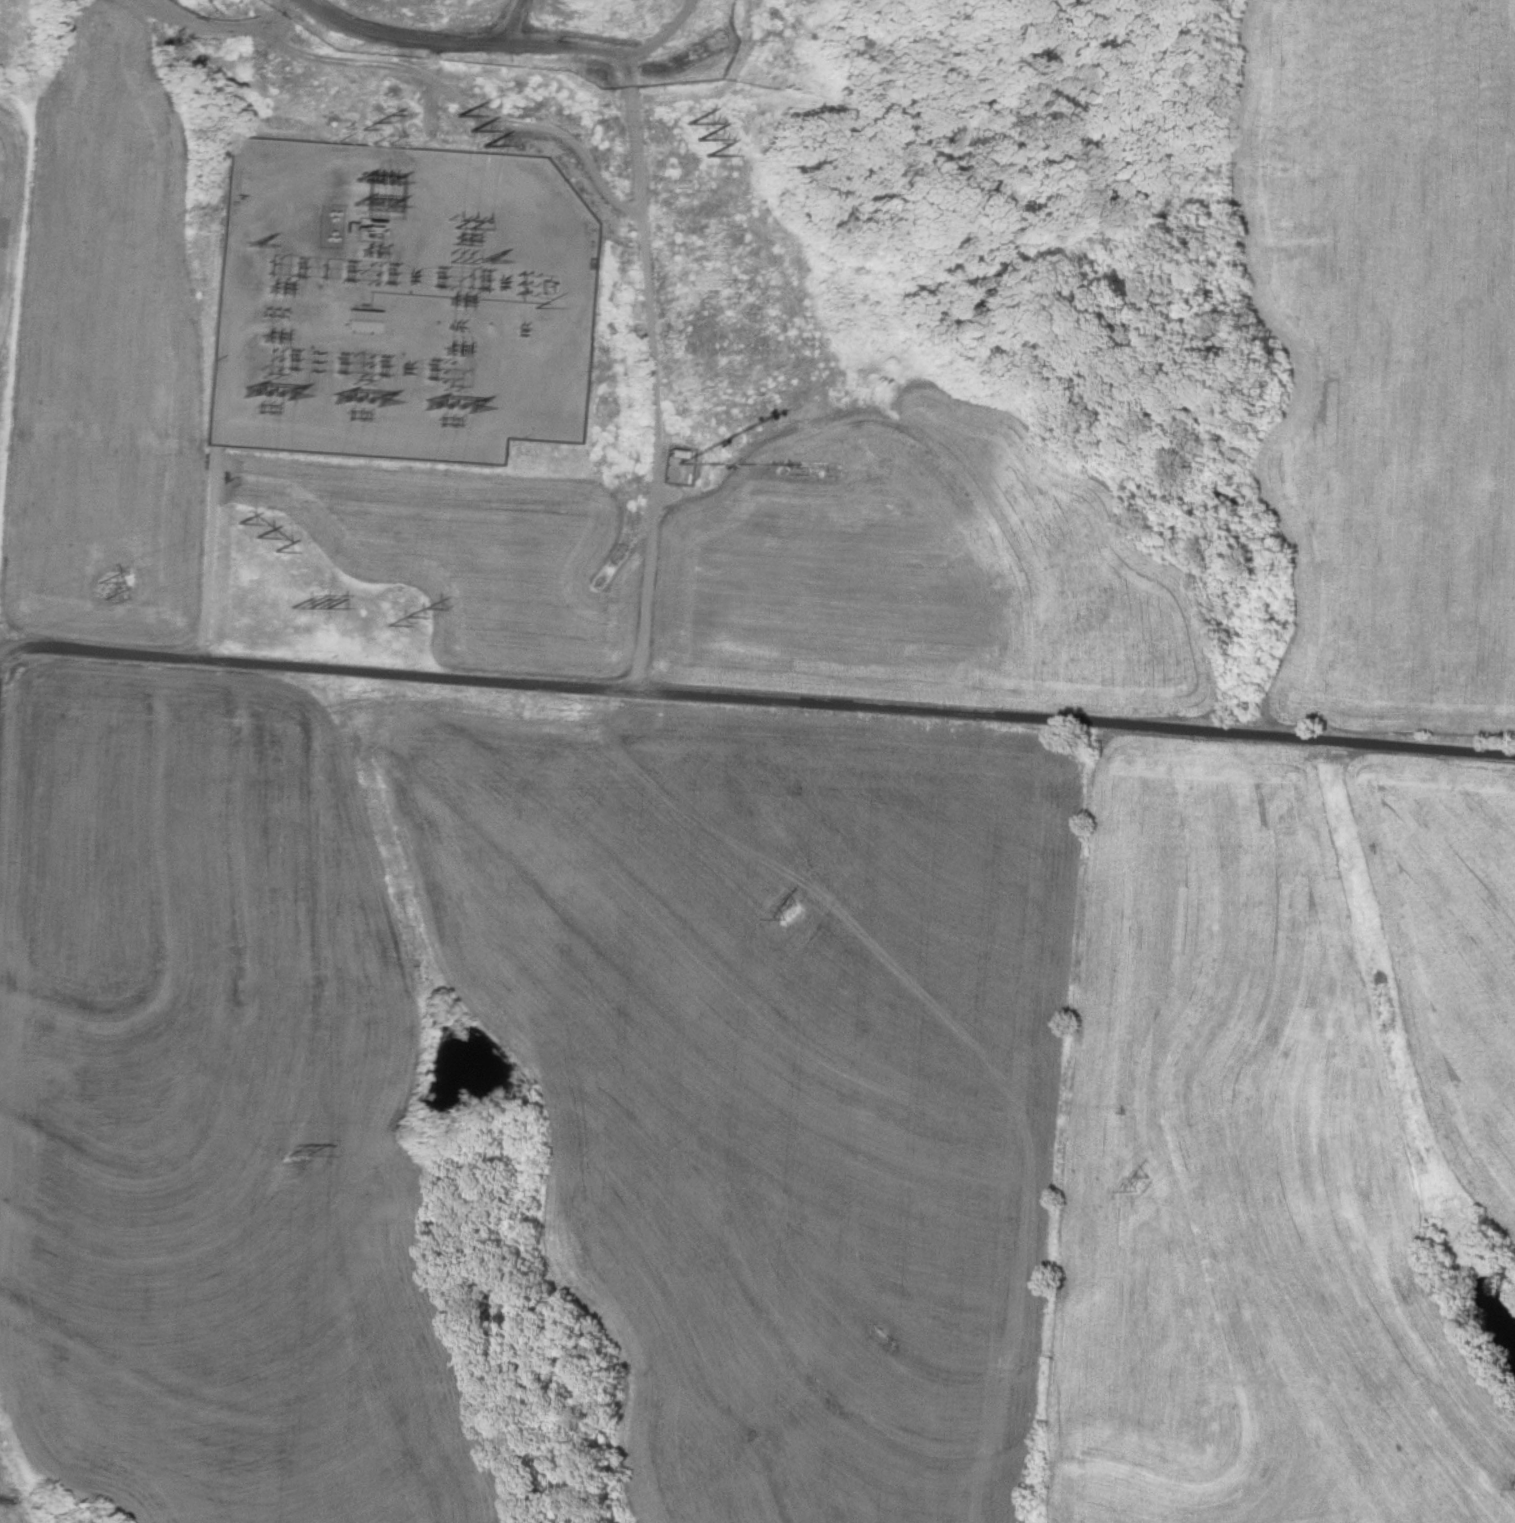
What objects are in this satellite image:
road: (667, 40)
crop: (19, 42)
road: (451, 46)
road: (537, 117)
power tower: (372, 127)
power tower: (468, 131)
power tower: (691, 138)
crop: (9, 214)
power substation: (396, 289)
road: (18, 304)
building: (364, 320)
crop: (108, 351)
crop: (1380, 354)
road: (653, 384)
power tower: (266, 396)
power tower: (358, 402)
power tower: (450, 409)
power tower: (251, 532)
road: (209, 540)
power tower: (95, 582)
power tower: (304, 603)
power tower: (404, 609)
road: (1, 658)
road: (755, 706)
power tower: (784, 904)
crop: (767, 1066)
crop: (217, 1116)
crop: (1277, 1139)
power tower: (294, 1157)
power tower: (1141, 1183)
crop: (17, 1490)

